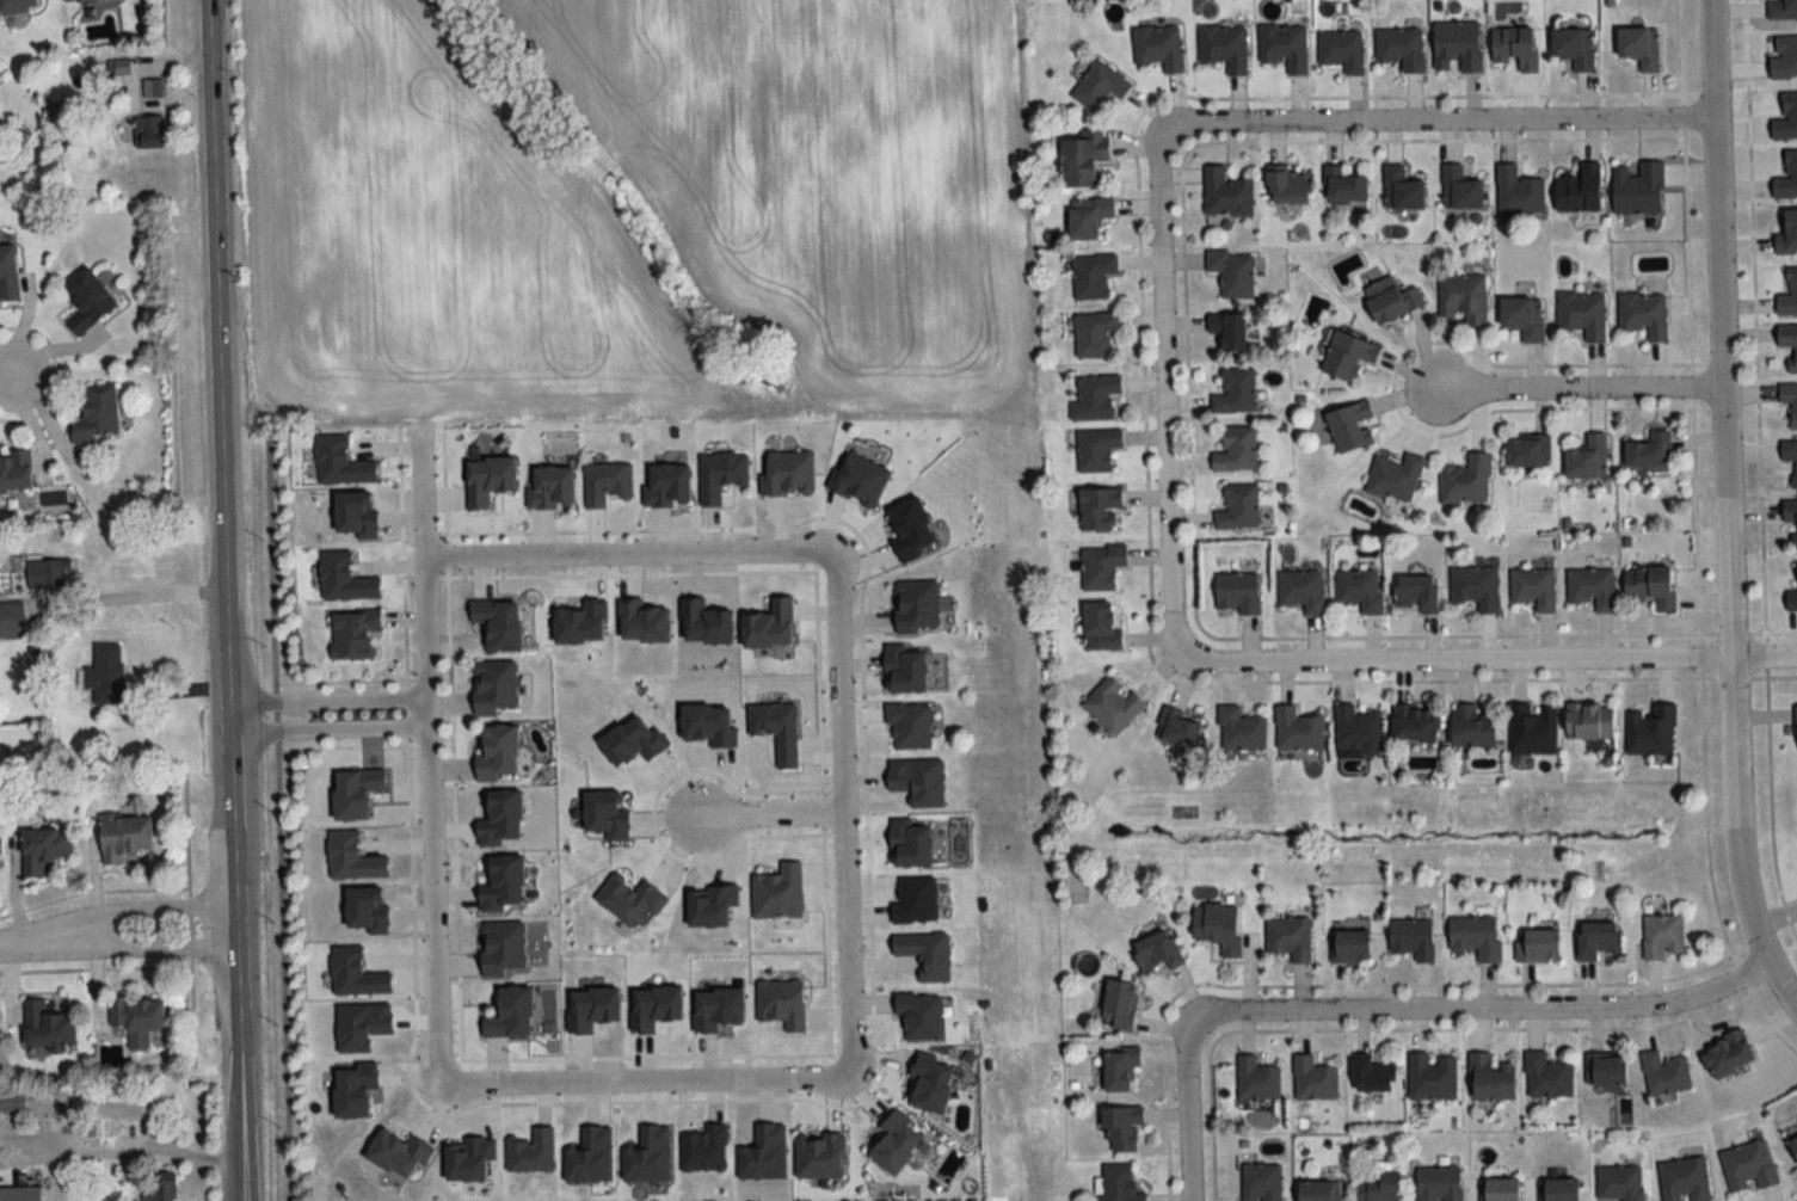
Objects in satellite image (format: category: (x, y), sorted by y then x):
building: (72, 0)
building: (17, 5)
building: (1781, 10)
building: (1285, 45)
building: (1159, 47)
building: (1224, 47)
building: (1457, 47)
building: (1515, 47)
building: (1575, 47)
building: (1639, 47)
building: (1401, 48)
building: (1342, 49)
building: (1783, 56)
building: (1100, 86)
building: (152, 87)
building: (1786, 117)
road: (1440, 122)
building: (150, 131)
building: (1083, 156)
building: (1787, 177)
building: (1344, 185)
building: (1288, 186)
building: (1402, 189)
building: (1460, 189)
building: (1638, 189)
building: (1580, 190)
building: (1518, 191)
building: (1227, 193)
building: (1089, 216)
building: (1787, 234)
building: (1232, 272)
building: (7, 273)
building: (1093, 275)
building: (1789, 295)
building: (1391, 298)
building: (1464, 298)
building: (87, 300)
building: (1582, 314)
building: (1644, 314)
building: (1524, 318)
building: (1229, 329)
building: (1094, 333)
building: (1789, 343)
building: (1348, 355)
road: (10, 378)
building: (1235, 392)
road: (1568, 392)
building: (1095, 398)
road: (1165, 398)
building: (1790, 401)
building: (97, 414)
building: (1350, 426)
building: (1096, 449)
building: (1236, 450)
building: (1528, 451)
building: (1649, 452)
building: (1588, 457)
building: (1791, 457)
building: (16, 472)
building: (788, 473)
building: (1395, 478)
building: (1466, 480)
building: (605, 484)
building: (1100, 509)
building: (1238, 509)
road: (1725, 511)
building: (1791, 515)
road: (628, 553)
building: (1101, 565)
building: (49, 573)
building: (1476, 586)
building: (1651, 586)
building: (1533, 587)
building: (1592, 587)
building: (1358, 589)
building: (1301, 590)
building: (1237, 592)
building: (1416, 592)
road: (139, 595)
road: (226, 600)
building: (916, 605)
building: (11, 618)
building: (1101, 627)
building: (353, 634)
road: (1491, 661)
building: (105, 673)
building: (494, 686)
road: (326, 698)
building: (1112, 704)
building: (1589, 720)
building: (1415, 723)
building: (910, 725)
building: (1472, 727)
building: (1177, 728)
building: (1532, 728)
building: (1297, 729)
building: (1358, 729)
road: (327, 731)
building: (1239, 731)
building: (1651, 731)
building: (497, 753)
road: (426, 759)
road: (765, 813)
road: (844, 813)
building: (124, 837)
building: (44, 849)
building: (779, 893)
road: (129, 909)
building: (1218, 926)
building: (1663, 936)
building: (1290, 937)
building: (1476, 937)
building: (1413, 938)
building: (1598, 941)
road: (16, 943)
building: (1537, 946)
building: (1349, 947)
road: (133, 948)
building: (501, 948)
building: (1158, 951)
building: (925, 954)
building: (781, 1003)
building: (1120, 1004)
road: (1484, 1011)
building: (511, 1014)
building: (137, 1018)
building: (48, 1027)
building: (1728, 1054)
building: (1119, 1067)
building: (1606, 1068)
building: (1664, 1073)
building: (1373, 1074)
building: (1546, 1076)
building: (1432, 1077)
building: (1313, 1078)
building: (1490, 1078)
building: (1256, 1079)
road: (646, 1080)
building: (12, 1103)
road: (1187, 1111)
building: (1122, 1128)
building: (896, 1143)
building: (704, 1148)
building: (531, 1152)
building: (1748, 1166)
building: (1684, 1180)
building: (1261, 1182)
building: (1619, 1182)
building: (1439, 1183)
building: (1119, 1184)
building: (1379, 1187)
building: (156, 1188)
building: (1558, 1189)
building: (1500, 1190)
building: (1319, 1191)
building: (20, 1194)

